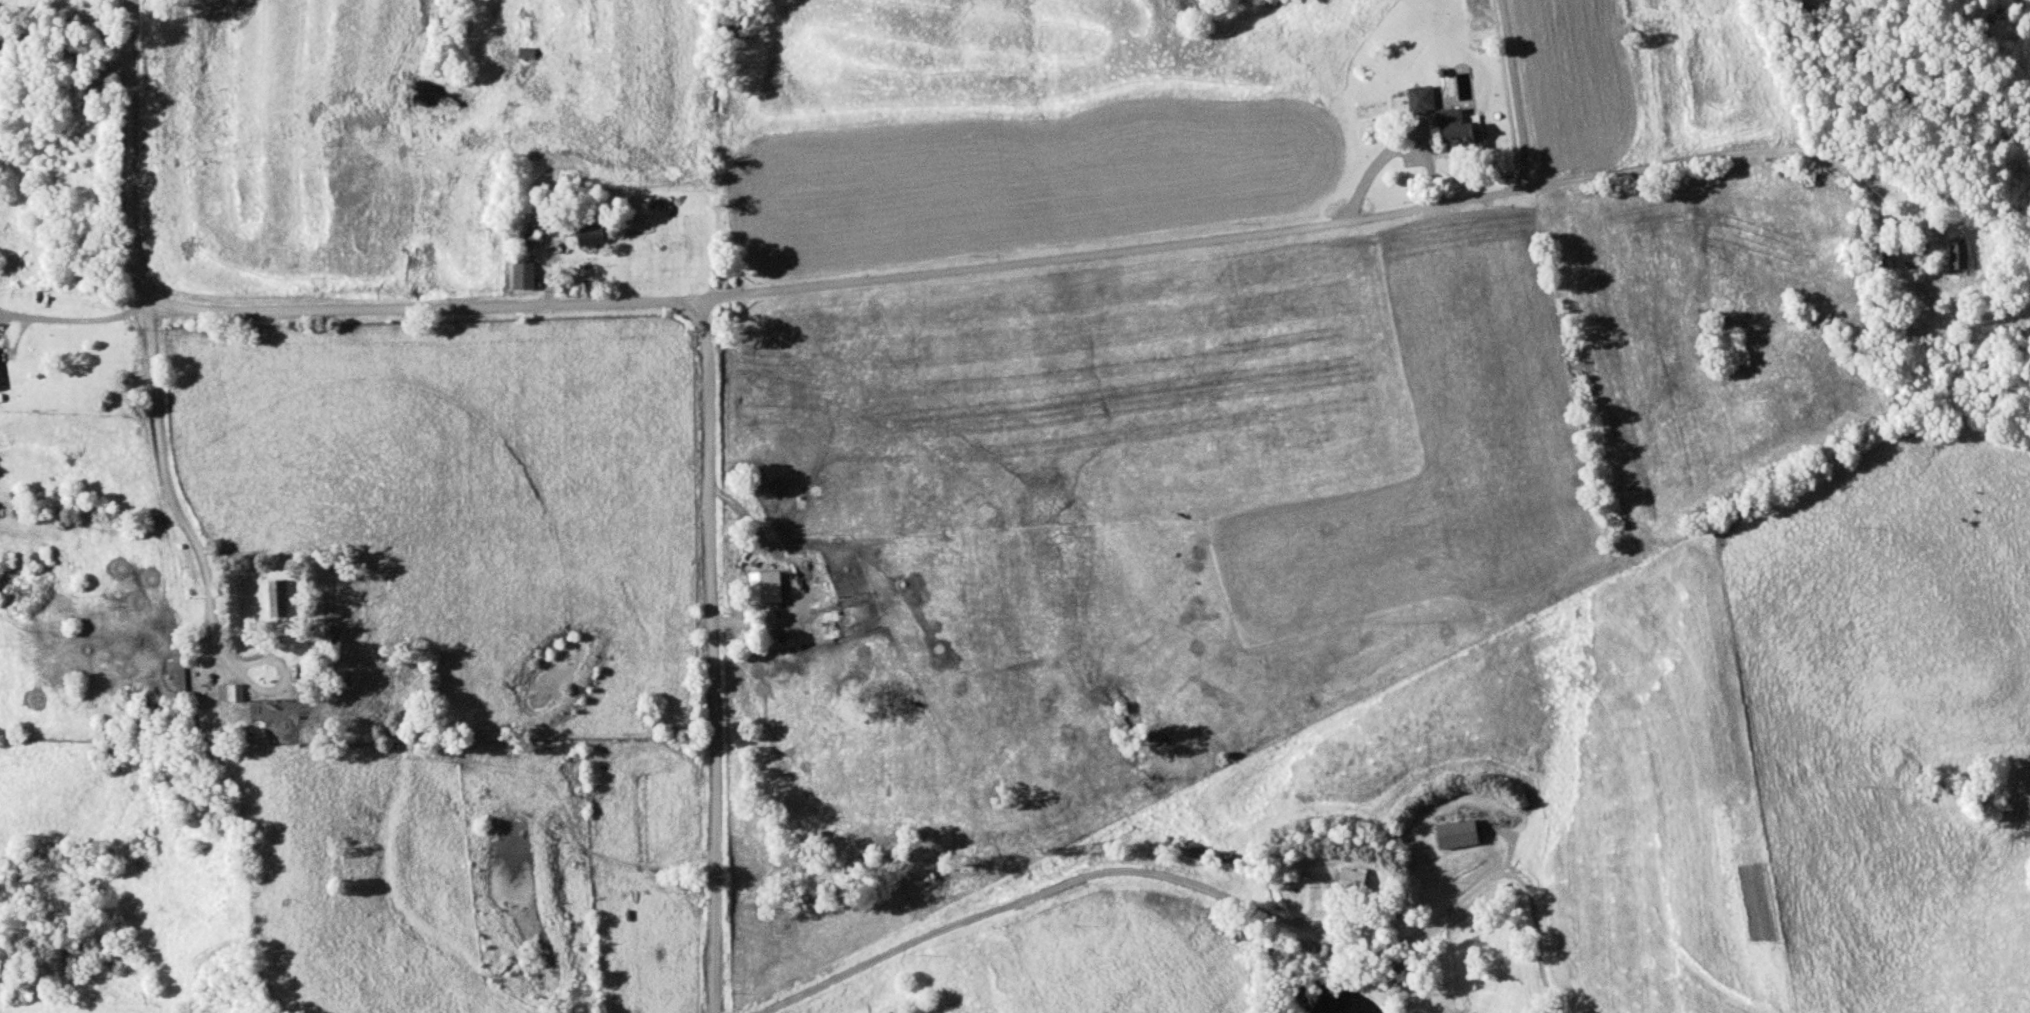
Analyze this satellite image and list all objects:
road: (1517, 95)
building: (1420, 101)
building: (1458, 132)
road: (128, 152)
building: (1957, 256)
road: (1054, 258)
building: (1877, 265)
road: (71, 321)
road: (173, 500)
road: (711, 656)
road: (1215, 895)

